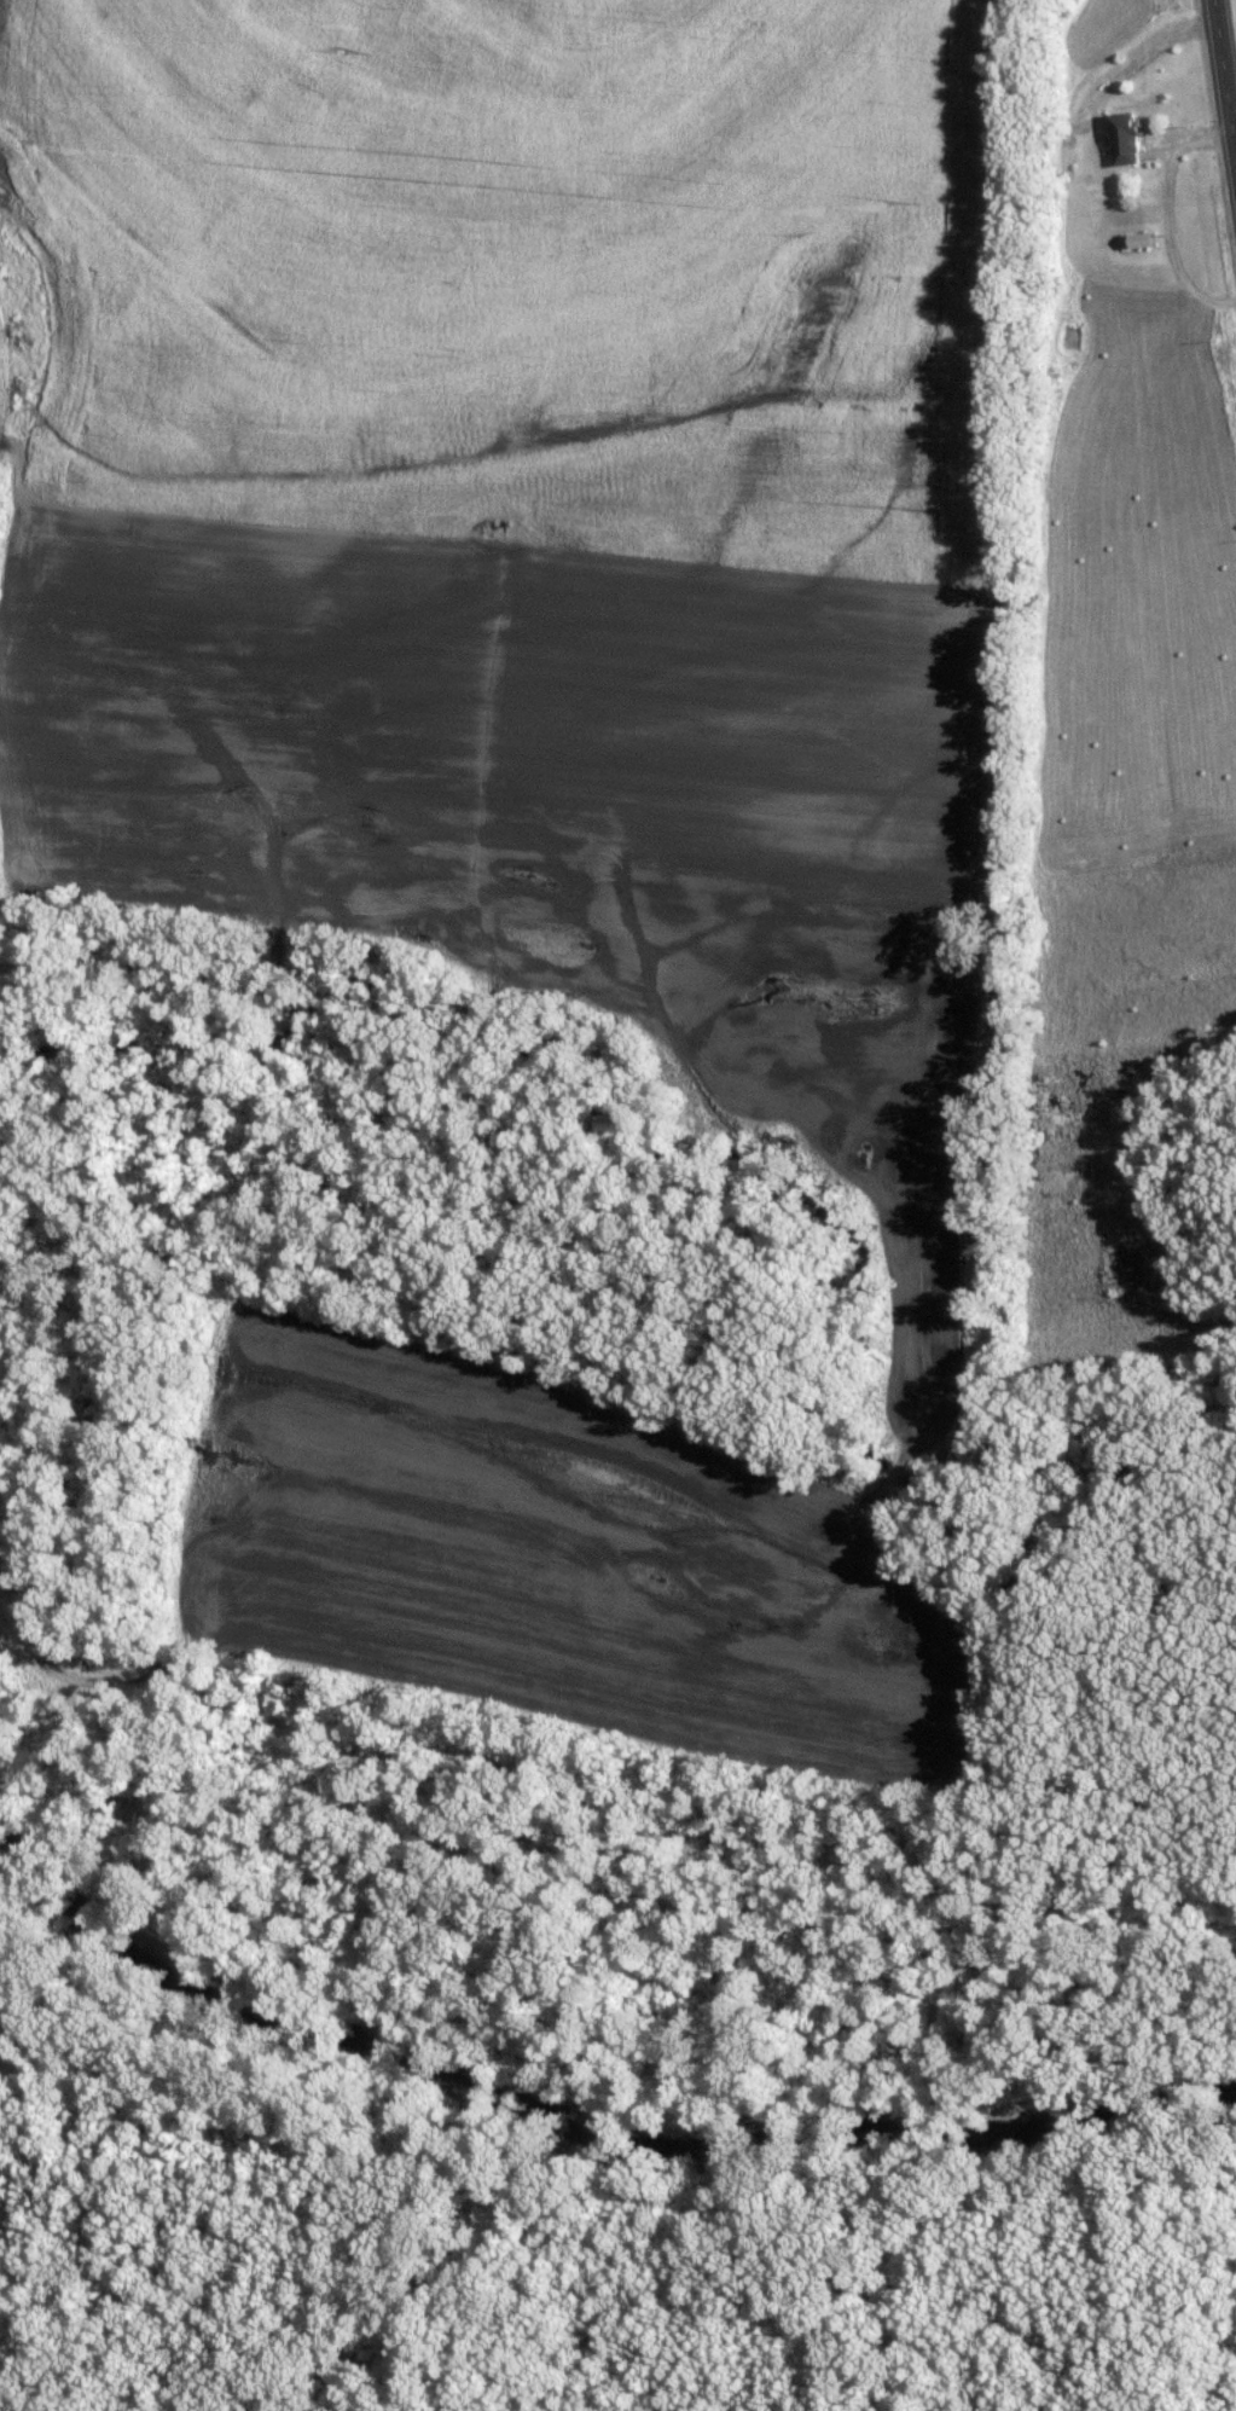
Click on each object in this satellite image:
road: (1137, 64)
road: (1225, 79)
building: (1126, 139)
road: (1159, 222)
building: (1142, 240)

